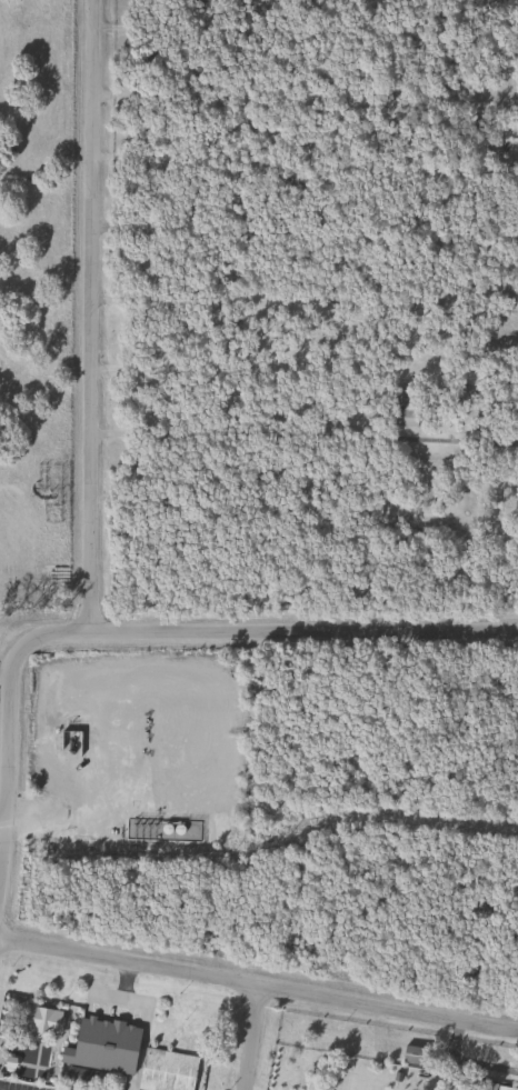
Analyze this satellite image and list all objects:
road: (306, 32)
road: (306, 101)
road: (93, 310)
road: (306, 370)
building: (398, 397)
building: (402, 417)
road: (306, 621)
road: (10, 716)
road: (4, 830)
road: (259, 983)
road: (248, 1036)
road: (450, 1038)
building: (99, 1048)
building: (411, 1054)
road: (482, 1064)
building: (166, 1070)
building: (506, 1088)
road: (245, 1089)

